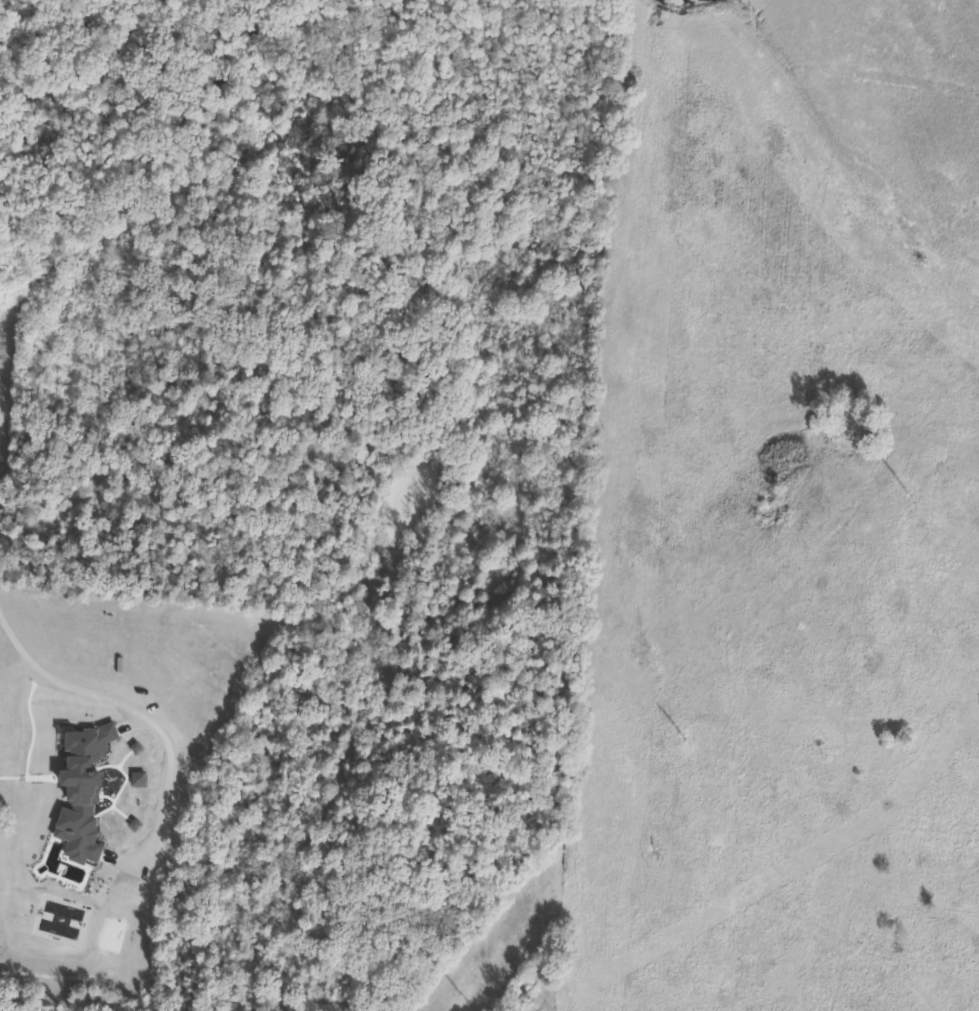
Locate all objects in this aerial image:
road: (4, 415)
road: (39, 667)
building: (83, 791)

